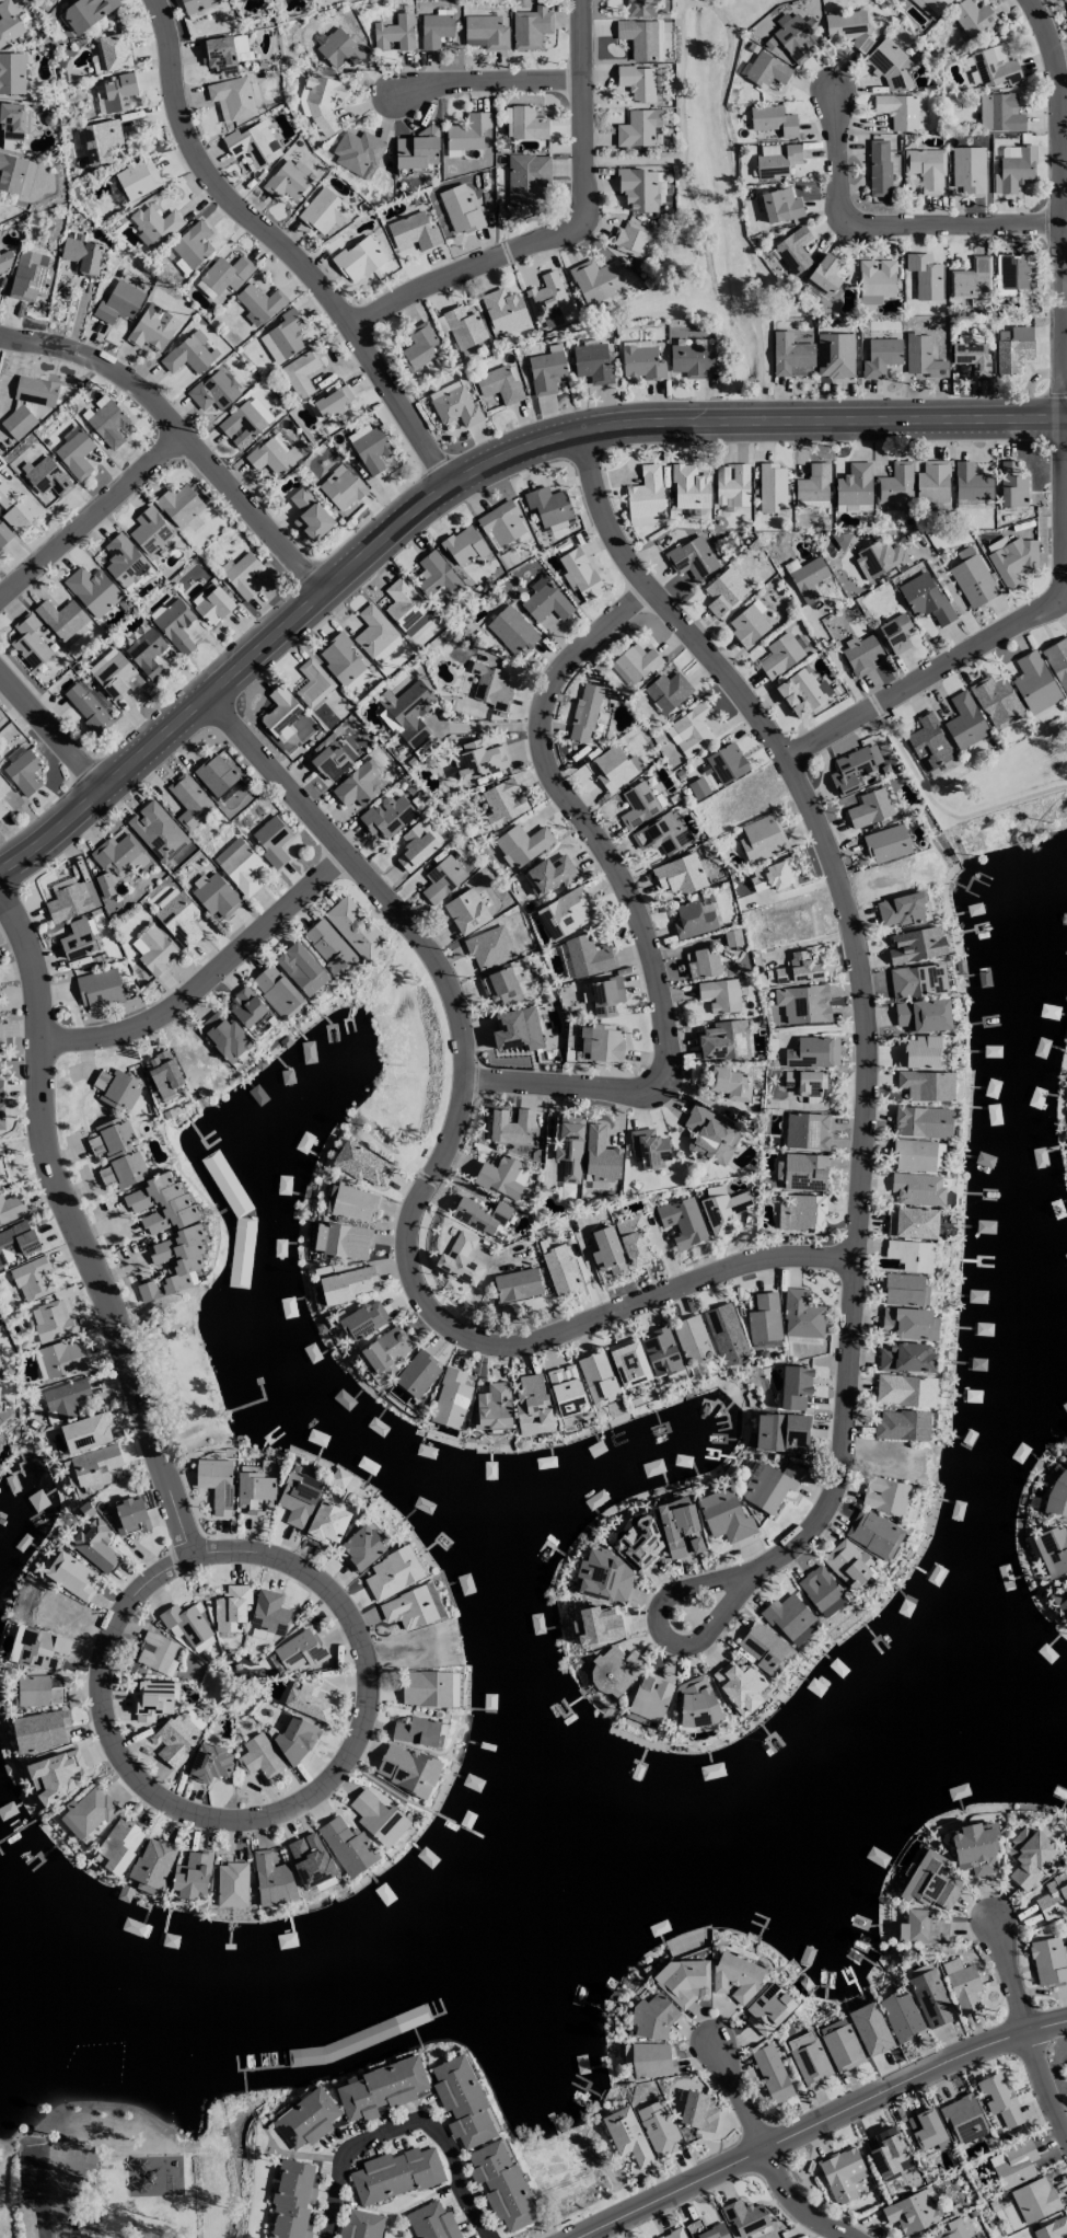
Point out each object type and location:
building: (1066, 3)
building: (197, 4)
building: (932, 4)
building: (86, 12)
building: (971, 18)
building: (9, 23)
building: (531, 27)
building: (848, 27)
road: (1044, 27)
building: (434, 30)
building: (395, 32)
building: (485, 32)
building: (796, 37)
building: (641, 38)
building: (338, 48)
building: (114, 51)
building: (223, 53)
road: (1064, 55)
building: (889, 64)
building: (994, 66)
building: (767, 69)
building: (12, 72)
road: (489, 79)
building: (637, 82)
building: (116, 92)
building: (232, 97)
building: (322, 101)
building: (898, 111)
building: (999, 112)
building: (773, 119)
building: (13, 120)
building: (525, 123)
building: (638, 127)
building: (466, 135)
building: (101, 140)
building: (253, 145)
road: (726, 147)
building: (417, 149)
building: (358, 152)
building: (777, 162)
building: (879, 168)
building: (926, 169)
building: (969, 169)
building: (15, 173)
building: (138, 177)
building: (526, 178)
building: (286, 181)
building: (638, 188)
building: (780, 205)
road: (687, 207)
building: (460, 209)
building: (325, 210)
park: (711, 210)
road: (568, 222)
road: (891, 223)
building: (153, 224)
building: (414, 231)
building: (630, 239)
road: (287, 243)
building: (192, 244)
building: (793, 250)
building: (82, 253)
building: (359, 258)
building: (5, 261)
building: (1014, 270)
building: (825, 273)
building: (30, 275)
building: (224, 275)
building: (925, 276)
building: (971, 278)
building: (875, 279)
building: (595, 280)
building: (547, 298)
building: (976, 300)
building: (118, 302)
building: (259, 303)
building: (503, 312)
building: (462, 326)
building: (152, 327)
building: (283, 336)
building: (419, 346)
building: (473, 348)
building: (1013, 348)
building: (188, 354)
building: (834, 355)
building: (881, 356)
building: (921, 356)
building: (972, 358)
road: (104, 359)
building: (691, 360)
building: (592, 362)
building: (546, 371)
building: (300, 373)
building: (499, 384)
building: (35, 390)
building: (213, 391)
building: (333, 402)
building: (455, 406)
building: (18, 422)
building: (107, 422)
building: (245, 422)
building: (370, 448)
building: (74, 451)
building: (269, 457)
road: (462, 471)
building: (47, 476)
building: (932, 481)
building: (971, 482)
building: (814, 483)
road: (1065, 483)
building: (732, 484)
building: (1011, 484)
building: (689, 486)
building: (772, 486)
building: (895, 486)
building: (855, 487)
building: (341, 488)
building: (646, 492)
building: (179, 505)
building: (548, 505)
road: (251, 507)
building: (16, 509)
building: (310, 515)
road: (92, 516)
building: (651, 518)
building: (501, 523)
building: (150, 530)
building: (3, 535)
building: (464, 545)
building: (692, 557)
building: (880, 558)
building: (1012, 559)
building: (124, 561)
building: (579, 573)
building: (436, 574)
building: (243, 575)
building: (972, 577)
building: (808, 578)
building: (92, 590)
building: (724, 590)
road: (975, 595)
building: (926, 599)
building: (545, 600)
building: (211, 603)
building: (407, 608)
building: (61, 618)
building: (749, 623)
building: (175, 625)
building: (512, 630)
building: (374, 633)
building: (896, 633)
building: (30, 641)
road: (837, 647)
building: (147, 653)
building: (860, 654)
building: (780, 655)
building: (636, 661)
building: (1057, 661)
building: (344, 662)
building: (114, 673)
building: (313, 682)
building: (1034, 682)
building: (490, 685)
building: (666, 691)
building: (802, 692)
building: (996, 701)
building: (88, 707)
building: (407, 711)
building: (280, 713)
building: (584, 713)
building: (964, 720)
road: (485, 726)
road: (49, 728)
building: (689, 730)
building: (928, 741)
building: (478, 759)
building: (330, 761)
building: (727, 763)
building: (615, 766)
building: (854, 768)
building: (23, 775)
building: (219, 775)
road: (278, 781)
building: (358, 785)
building: (2, 787)
building: (698, 787)
park: (996, 794)
building: (189, 801)
building: (502, 803)
building: (639, 805)
building: (870, 808)
building: (2, 809)
road: (941, 809)
building: (387, 816)
building: (158, 830)
building: (662, 833)
building: (762, 838)
building: (272, 840)
building: (521, 843)
building: (886, 843)
building: (416, 845)
building: (120, 855)
building: (240, 865)
building: (549, 874)
building: (680, 874)
building: (776, 875)
building: (442, 879)
building: (105, 884)
building: (216, 895)
road: (626, 900)
building: (902, 910)
building: (466, 911)
building: (565, 912)
building: (178, 918)
building: (693, 920)
building: (355, 927)
building: (732, 937)
building: (78, 938)
building: (916, 945)
building: (329, 947)
building: (489, 947)
building: (153, 948)
building: (587, 957)
building: (301, 968)
building: (798, 968)
building: (917, 980)
road: (208, 982)
building: (502, 985)
building: (100, 989)
building: (276, 990)
building: (605, 995)
building: (720, 995)
building: (804, 1003)
building: (246, 1007)
building: (923, 1014)
building: (515, 1028)
building: (0, 1030)
building: (224, 1035)
building: (724, 1040)
building: (602, 1042)
building: (920, 1051)
building: (812, 1052)
building: (163, 1074)
building: (804, 1082)
building: (730, 1083)
building: (926, 1085)
building: (0, 1087)
building: (117, 1088)
road: (868, 1096)
building: (1, 1116)
building: (923, 1121)
building: (511, 1126)
building: (807, 1130)
building: (710, 1135)
building: (569, 1145)
building: (649, 1149)
building: (117, 1153)
building: (601, 1155)
building: (914, 1155)
building: (362, 1164)
building: (802, 1172)
building: (521, 1174)
building: (499, 1177)
building: (917, 1188)
building: (162, 1203)
building: (353, 1203)
building: (11, 1208)
building: (723, 1210)
building: (801, 1212)
building: (483, 1215)
building: (683, 1221)
building: (912, 1222)
road: (79, 1226)
building: (341, 1239)
building: (633, 1239)
building: (16, 1241)
building: (607, 1250)
building: (911, 1254)
building: (181, 1256)
building: (460, 1259)
building: (559, 1269)
building: (32, 1278)
building: (347, 1284)
road: (420, 1284)
building: (517, 1284)
building: (905, 1289)
building: (148, 1290)
building: (802, 1314)
building: (764, 1317)
building: (364, 1319)
building: (53, 1320)
building: (908, 1323)
building: (726, 1334)
building: (692, 1340)
building: (385, 1349)
building: (661, 1351)
building: (906, 1358)
building: (60, 1359)
building: (628, 1362)
building: (0, 1364)
building: (417, 1373)
park: (182, 1375)
building: (599, 1377)
building: (795, 1386)
building: (566, 1389)
building: (905, 1389)
building: (66, 1396)
building: (452, 1397)
building: (532, 1405)
building: (4, 1415)
building: (902, 1424)
building: (85, 1432)
building: (781, 1432)
building: (0, 1440)
building: (95, 1466)
building: (339, 1477)
building: (769, 1485)
building: (217, 1486)
building: (255, 1492)
building: (884, 1495)
building: (1057, 1496)
building: (298, 1498)
building: (130, 1515)
building: (724, 1515)
building: (327, 1522)
building: (679, 1526)
building: (873, 1533)
building: (639, 1544)
building: (96, 1545)
building: (362, 1546)
building: (1052, 1549)
building: (847, 1562)
building: (393, 1572)
building: (72, 1576)
building: (604, 1577)
building: (821, 1591)
building: (1059, 1596)
building: (231, 1606)
building: (408, 1608)
building: (790, 1618)
building: (185, 1624)
building: (763, 1647)
building: (42, 1648)
building: (300, 1650)
building: (156, 1653)
building: (614, 1669)
road: (367, 1674)
building: (738, 1685)
building: (426, 1688)
building: (39, 1689)
building: (650, 1697)
building: (153, 1699)
building: (306, 1699)
building: (696, 1701)
building: (39, 1730)
building: (419, 1732)
building: (294, 1738)
building: (176, 1739)
building: (259, 1756)
building: (210, 1762)
building: (407, 1769)
building: (56, 1775)
building: (88, 1811)
building: (379, 1818)
building: (120, 1844)
building: (347, 1846)
building: (975, 1847)
building: (1030, 1857)
building: (153, 1865)
building: (271, 1879)
building: (931, 1881)
building: (232, 1884)
building: (1053, 1895)
building: (923, 1927)
building: (1048, 1961)
building: (735, 1977)
building: (684, 1981)
building: (963, 1985)
building: (929, 1997)
building: (768, 2009)
building: (901, 2014)
building: (651, 2019)
road: (1028, 2023)
building: (840, 2045)
building: (809, 2058)
building: (651, 2060)
building: (772, 2073)
building: (381, 2088)
building: (999, 2098)
building: (462, 2102)
building: (698, 2111)
building: (306, 2119)
building: (963, 2119)
road: (405, 2121)
road: (821, 2126)
building: (659, 2127)
building: (927, 2129)
building: (627, 2135)
building: (890, 2152)
road: (762, 2155)
park: (106, 2157)
building: (1013, 2164)
building: (842, 2172)
building: (396, 2173)
parking lot: (68, 2184)
building: (501, 2184)
building: (292, 2199)
building: (1034, 2200)
road: (67, 2201)
building: (911, 2212)
building: (744, 2216)
building: (432, 2222)
building: (362, 2225)
building: (1051, 2228)
building: (952, 2229)
building: (673, 2234)
building: (267, 2237)

